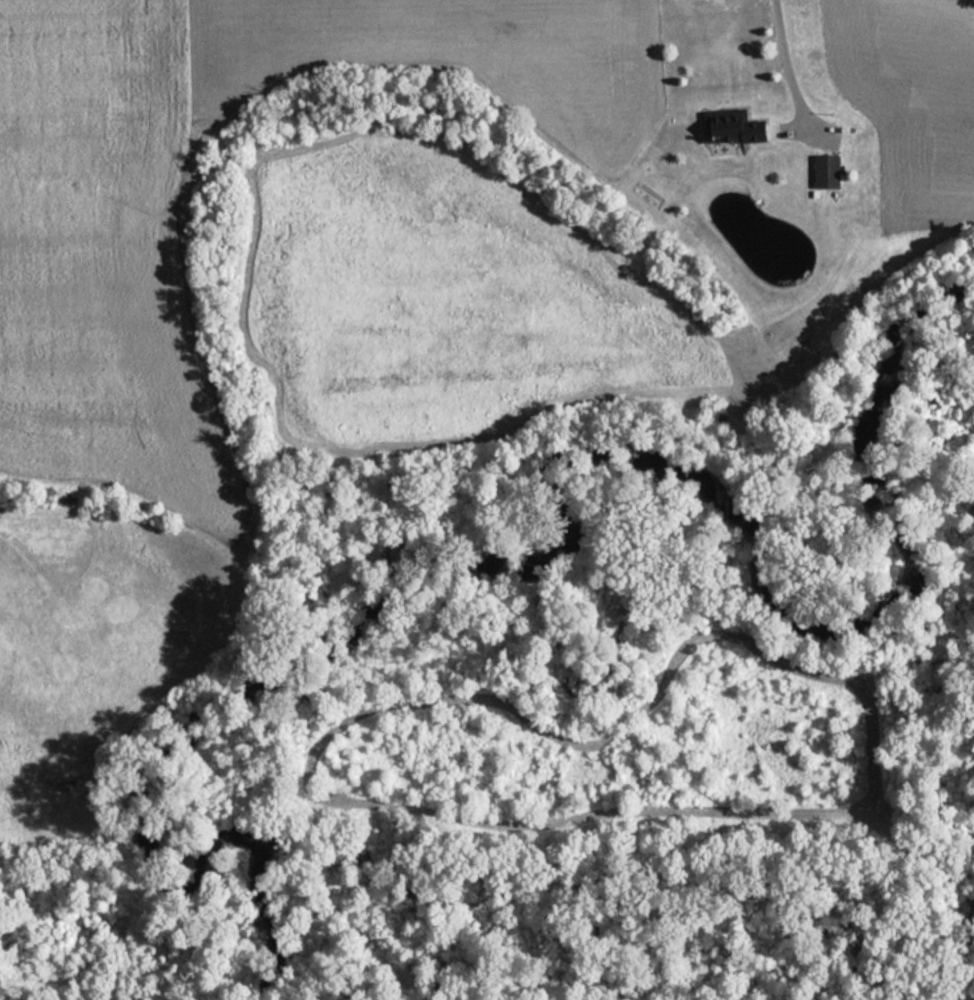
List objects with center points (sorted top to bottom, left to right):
road: (782, 67)
building: (732, 126)
building: (825, 171)

